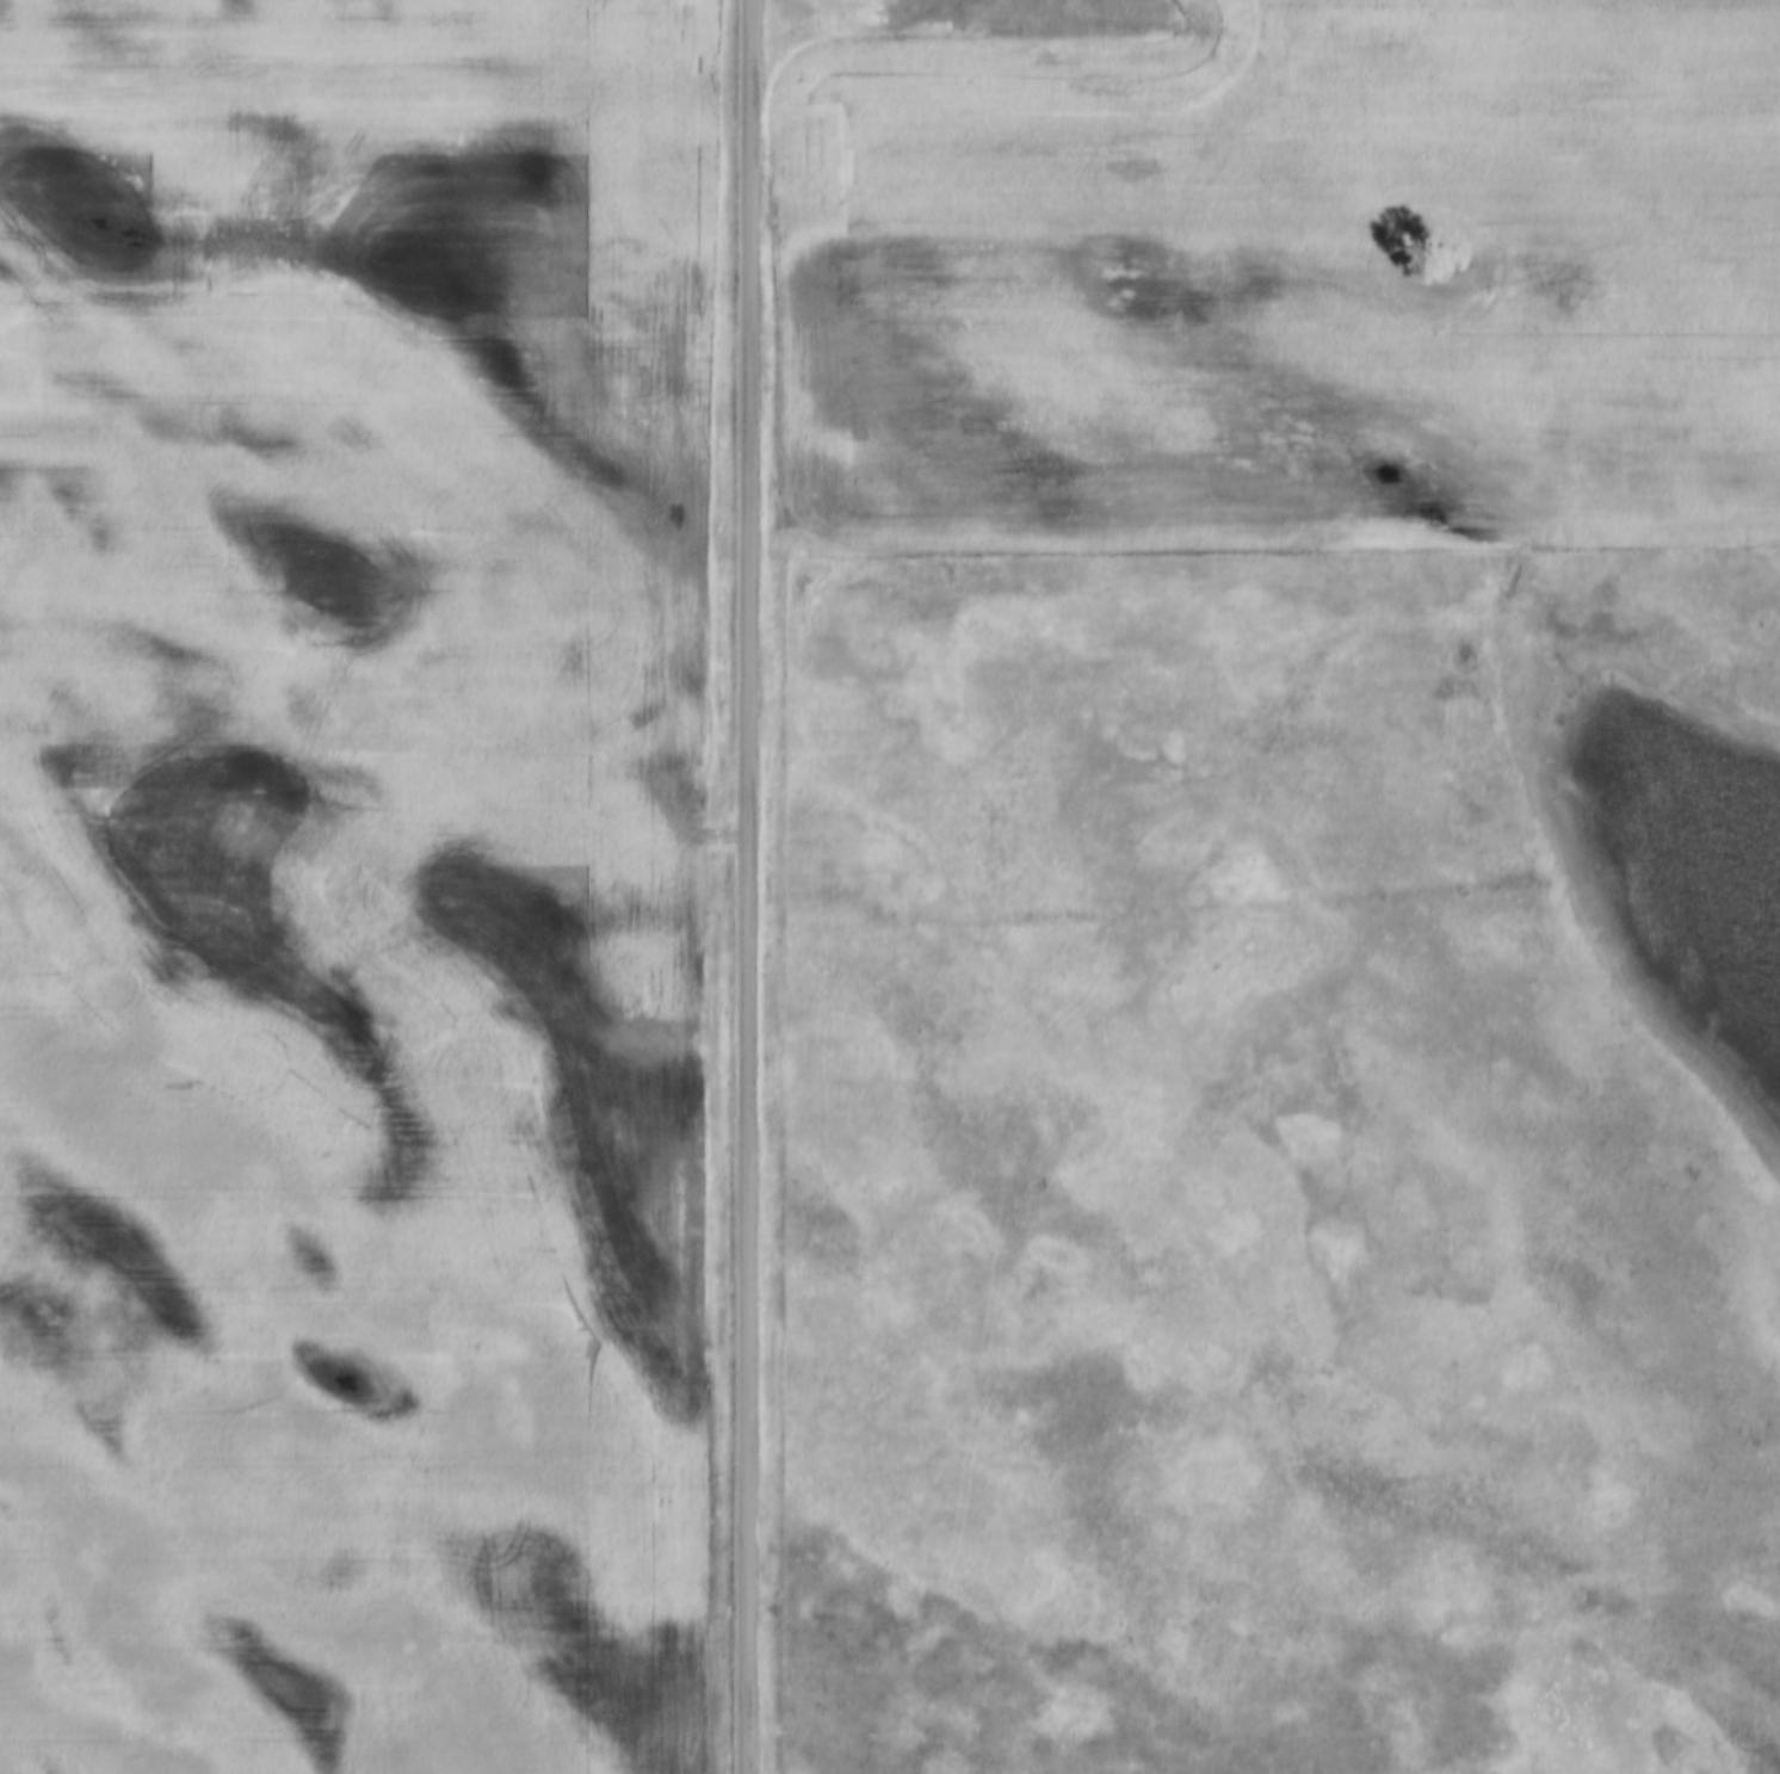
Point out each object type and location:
road: (748, 886)

